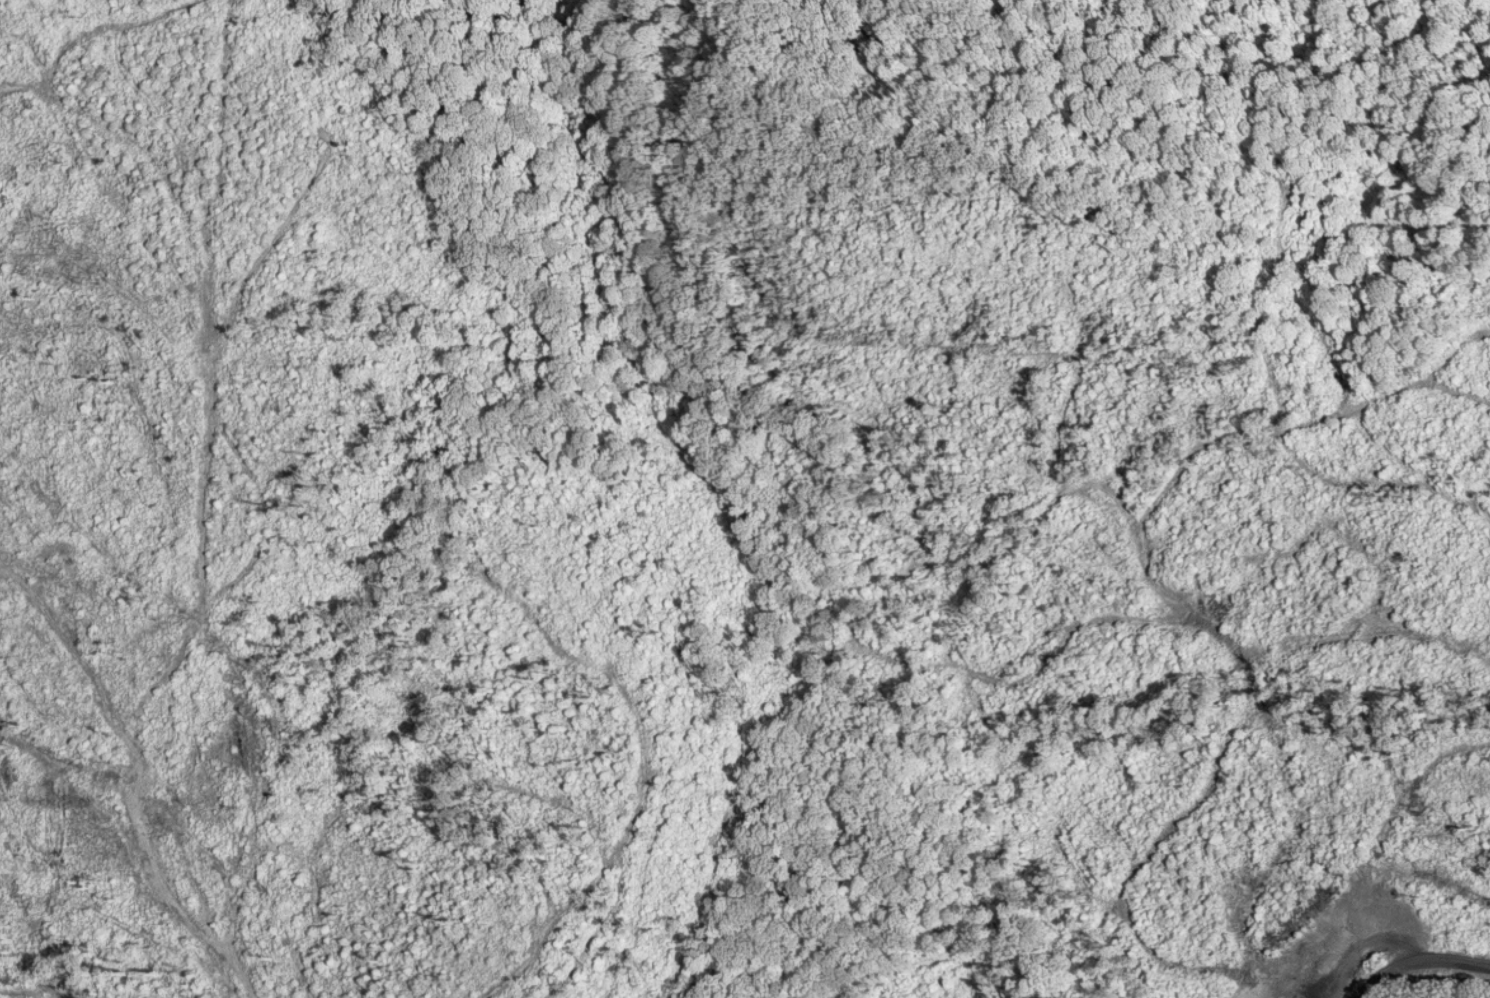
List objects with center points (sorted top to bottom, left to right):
road: (1419, 961)

